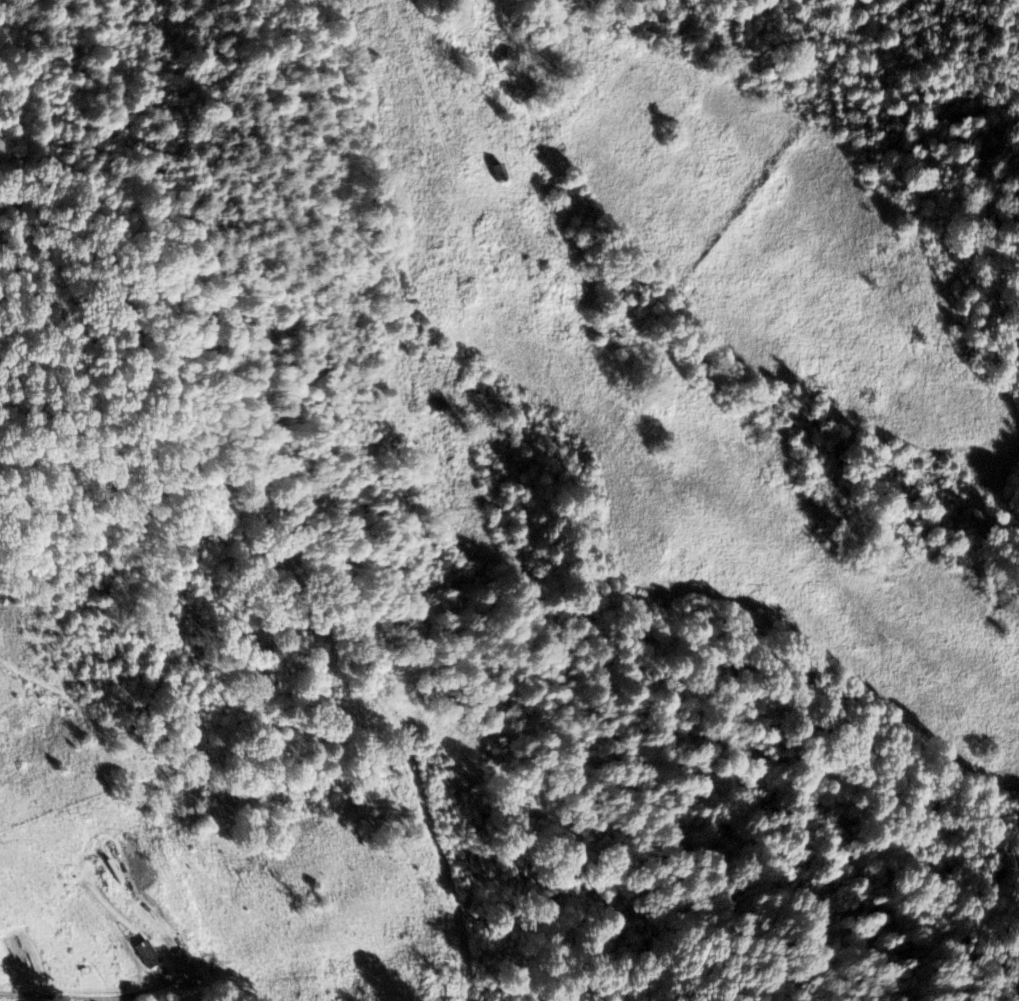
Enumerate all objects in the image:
building: (510, 59)
building: (147, 952)
road: (79, 999)

